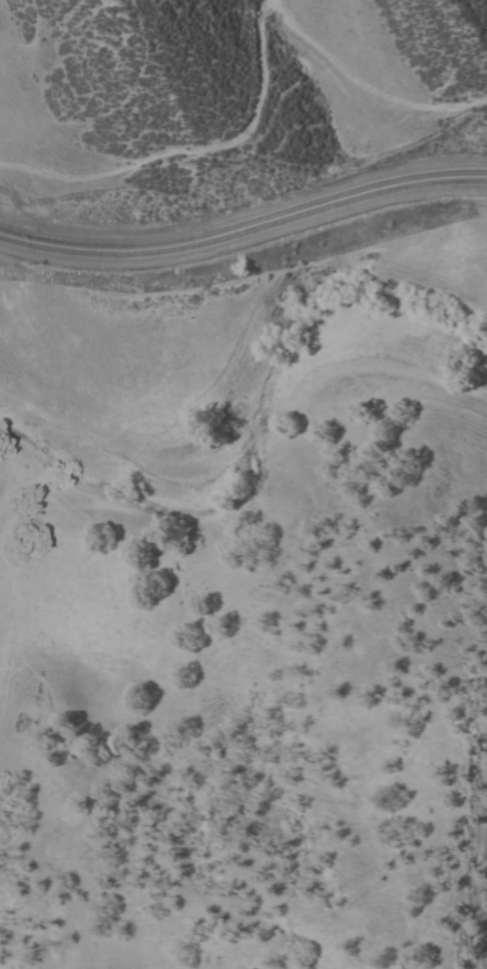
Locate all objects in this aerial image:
road: (244, 206)

